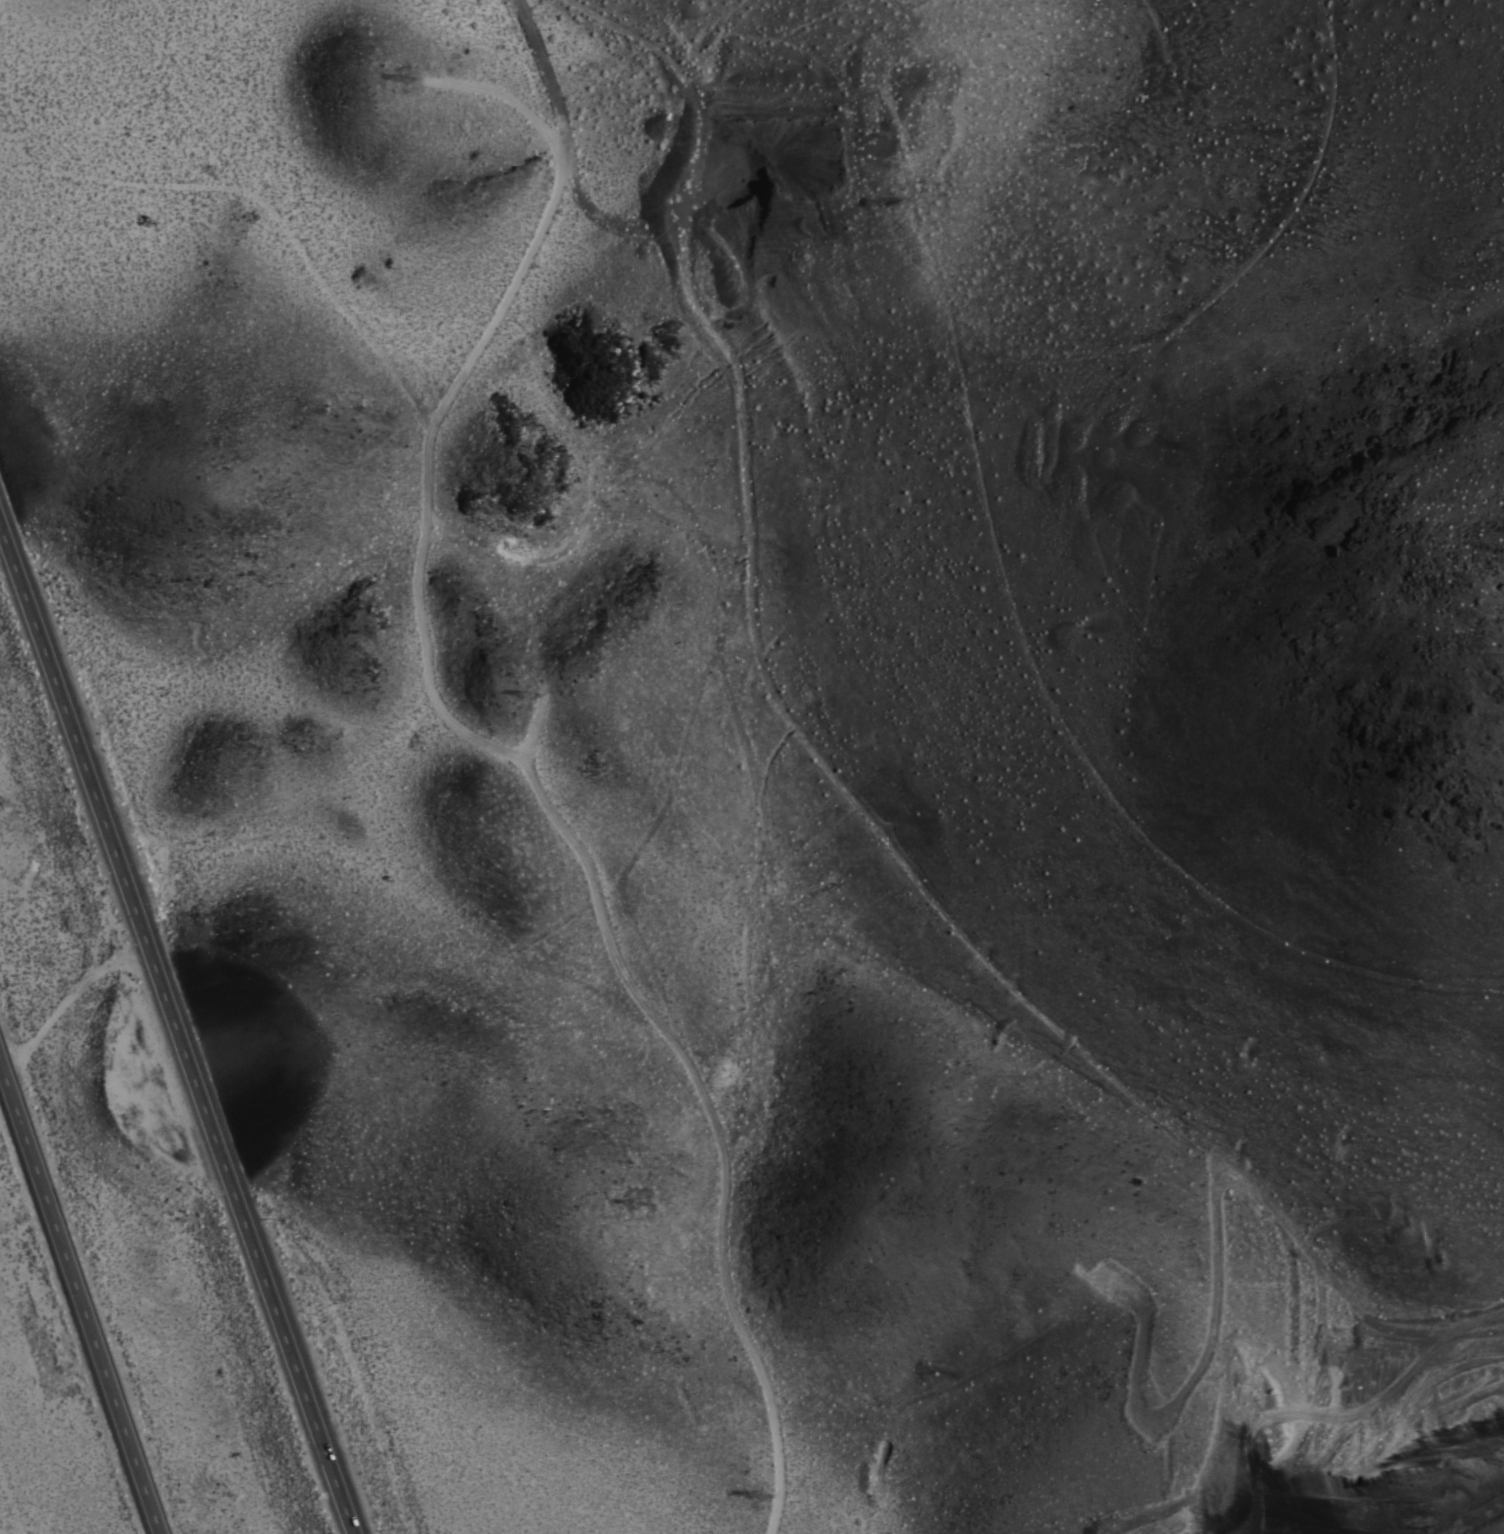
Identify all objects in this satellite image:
road: (546, 73)
power tower: (702, 75)
power tower: (405, 81)
road: (710, 331)
road: (452, 388)
power tower: (527, 697)
road: (532, 725)
road: (175, 1016)
road: (714, 1126)
power tower: (637, 1210)
road: (82, 1293)
power tower: (762, 1500)

